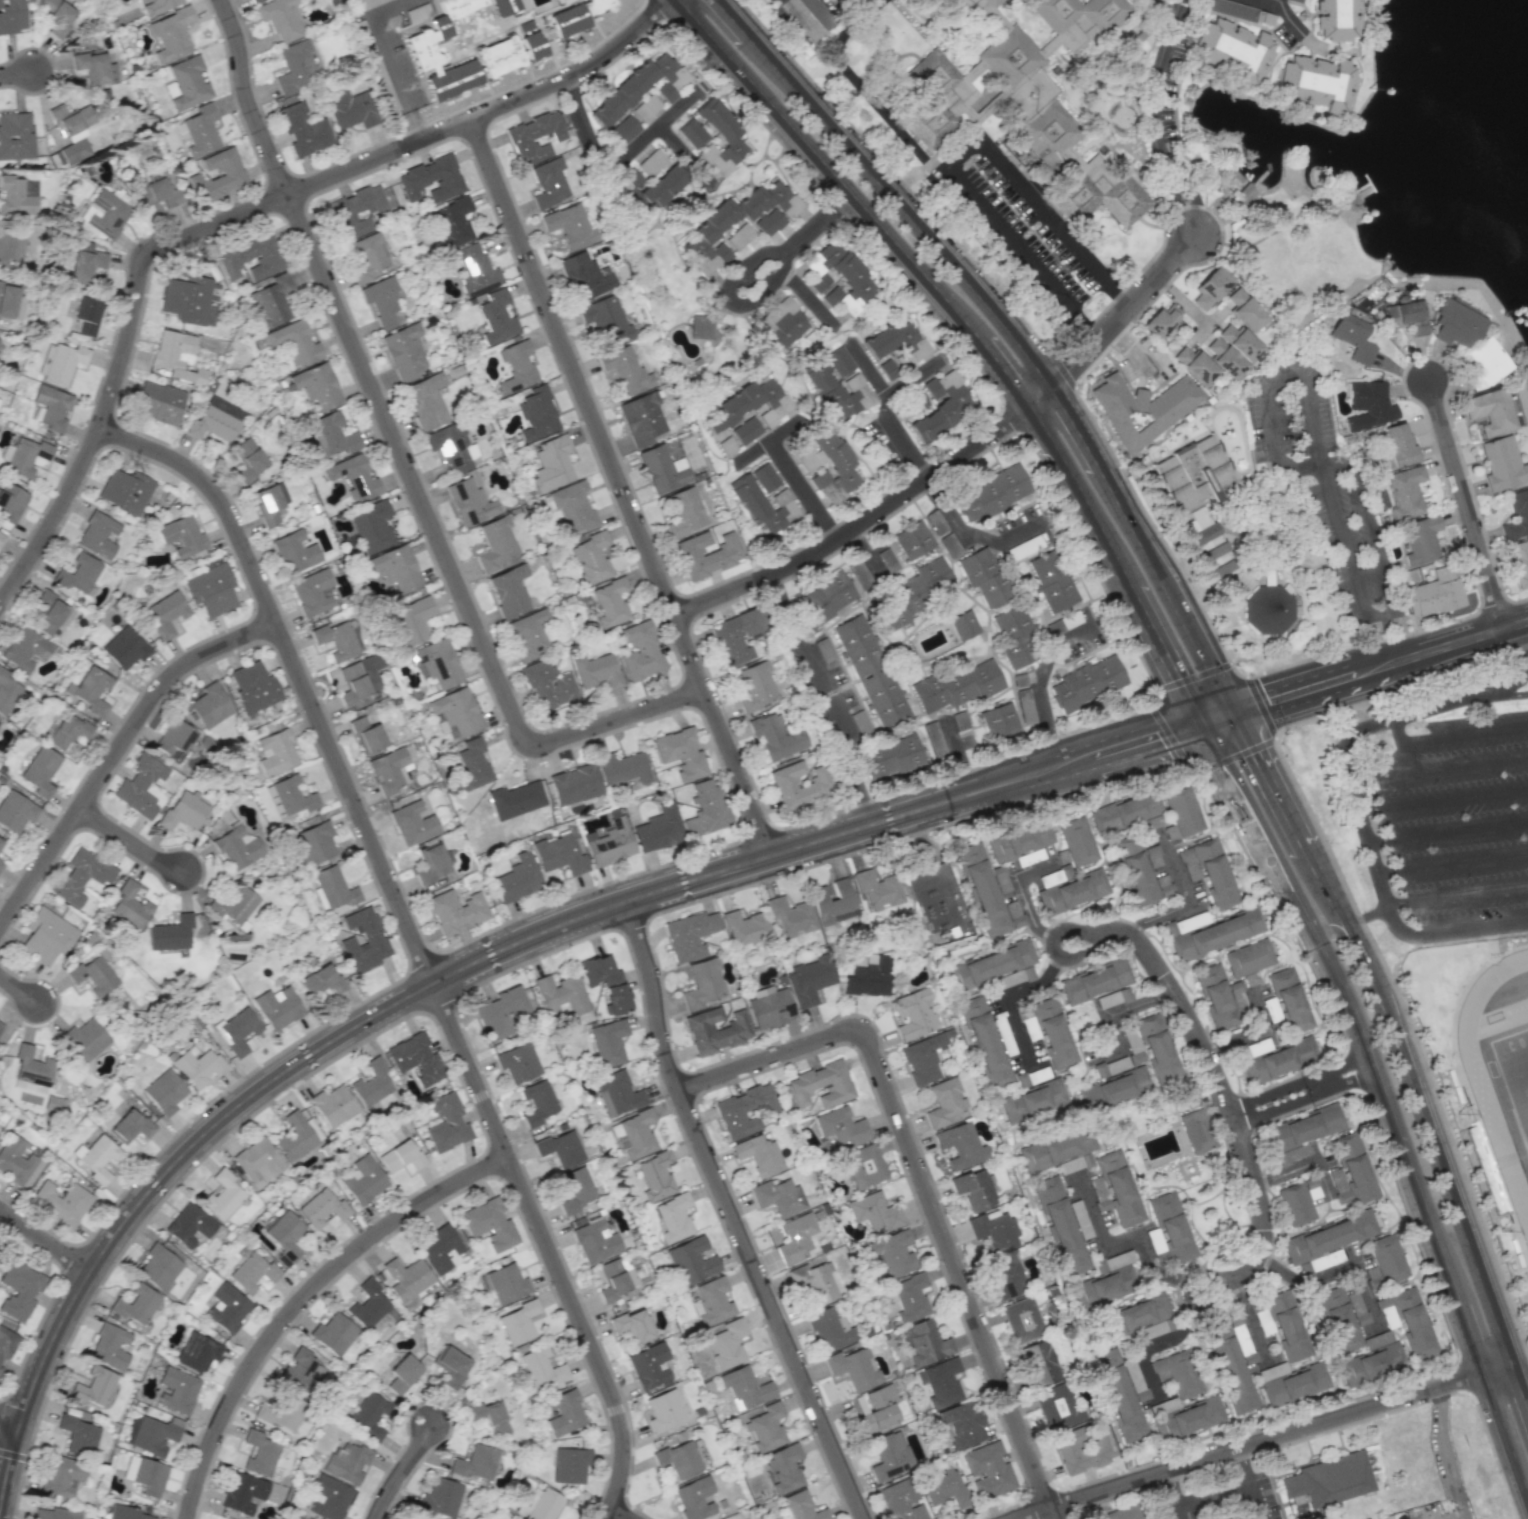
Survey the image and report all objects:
building: (253, 0)
building: (953, 0)
building: (1295, 0)
building: (970, 1)
building: (992, 2)
building: (839, 3)
road: (1264, 3)
road: (1276, 3)
road: (1168, 5)
building: (157, 6)
road: (383, 7)
building: (1240, 11)
road: (799, 15)
building: (11, 16)
building: (55, 16)
building: (575, 16)
building: (280, 18)
building: (1079, 19)
building: (1336, 19)
road: (1292, 22)
building: (171, 34)
building: (532, 45)
building: (422, 49)
building: (1231, 49)
road: (728, 55)
building: (499, 56)
building: (296, 66)
building: (94, 68)
road: (17, 73)
road: (395, 77)
road: (854, 80)
building: (188, 82)
building: (1315, 83)
building: (641, 85)
road: (1158, 93)
building: (939, 99)
road: (244, 100)
building: (349, 109)
building: (303, 129)
building: (624, 129)
building: (200, 130)
building: (691, 132)
building: (1055, 132)
building: (16, 135)
building: (534, 137)
building: (720, 137)
road: (685, 153)
road: (960, 154)
road: (614, 160)
building: (651, 162)
building: (230, 175)
building: (632, 178)
building: (431, 179)
building: (549, 182)
building: (661, 187)
building: (154, 190)
building: (17, 196)
building: (355, 210)
road: (239, 213)
building: (103, 216)
building: (453, 221)
road: (814, 222)
building: (713, 224)
building: (569, 225)
road: (881, 226)
building: (10, 247)
building: (366, 257)
building: (250, 258)
building: (83, 265)
building: (474, 269)
building: (585, 276)
building: (838, 277)
building: (1209, 287)
road: (1116, 292)
road: (807, 296)
building: (7, 299)
building: (188, 299)
building: (271, 300)
building: (381, 300)
road: (1130, 302)
road: (730, 303)
building: (1244, 310)
building: (86, 315)
building: (1405, 316)
building: (496, 317)
building: (606, 319)
building: (1161, 320)
building: (782, 322)
building: (1455, 323)
road: (1085, 324)
building: (701, 326)
building: (1353, 336)
building: (1239, 342)
building: (294, 343)
building: (896, 343)
building: (171, 348)
building: (403, 351)
building: (1224, 358)
building: (839, 361)
building: (60, 363)
building: (1486, 363)
building: (1194, 364)
road: (929, 366)
building: (515, 367)
building: (887, 369)
building: (625, 370)
road: (1008, 375)
building: (316, 385)
building: (836, 391)
building: (158, 401)
building: (425, 401)
building: (1369, 404)
building: (747, 405)
building: (940, 405)
building: (52, 407)
building: (1141, 407)
building: (1490, 411)
building: (536, 414)
building: (642, 418)
building: (215, 419)
road: (1272, 426)
building: (746, 430)
building: (331, 435)
building: (1399, 445)
building: (451, 446)
building: (726, 446)
building: (23, 456)
building: (248, 459)
building: (551, 463)
building: (1502, 463)
building: (828, 464)
building: (662, 469)
road: (927, 475)
building: (353, 477)
road: (621, 487)
building: (125, 491)
road: (803, 491)
building: (1405, 492)
building: (993, 493)
road: (1082, 495)
building: (1198, 497)
building: (763, 500)
building: (11, 502)
building: (270, 502)
building: (469, 502)
road: (1469, 505)
building: (573, 508)
building: (684, 512)
building: (1517, 514)
road: (1371, 524)
road: (859, 525)
road: (1340, 525)
building: (372, 527)
building: (97, 535)
building: (181, 535)
building: (1, 539)
building: (912, 539)
building: (1420, 540)
building: (495, 544)
building: (295, 552)
building: (706, 554)
road: (443, 555)
building: (590, 556)
road: (866, 559)
building: (1519, 562)
building: (396, 568)
building: (78, 574)
building: (984, 576)
building: (1052, 580)
building: (210, 590)
building: (509, 591)
building: (312, 592)
building: (916, 592)
building: (1433, 594)
building: (826, 597)
building: (609, 602)
building: (1268, 610)
building: (48, 613)
building: (165, 614)
road: (1381, 615)
building: (410, 621)
building: (964, 625)
building: (528, 633)
building: (1014, 635)
road: (1400, 635)
building: (734, 637)
building: (339, 639)
building: (124, 648)
building: (25, 649)
building: (824, 650)
building: (640, 651)
road: (1162, 653)
road: (1038, 656)
road: (1203, 659)
building: (436, 662)
road: (1523, 664)
road: (1380, 666)
building: (596, 671)
building: (870, 671)
road: (1194, 674)
building: (360, 678)
building: (1087, 682)
building: (548, 685)
building: (754, 686)
building: (955, 686)
building: (253, 687)
building: (92, 690)
building: (7, 692)
road: (820, 700)
building: (209, 706)
building: (456, 711)
road: (1213, 717)
building: (999, 720)
road: (1380, 720)
road: (1397, 730)
building: (68, 731)
road: (1166, 733)
road: (1466, 734)
building: (366, 735)
building: (775, 737)
building: (174, 740)
road: (1270, 741)
road: (119, 751)
building: (275, 752)
building: (680, 752)
building: (892, 756)
road: (1400, 756)
road: (958, 760)
building: (470, 766)
road: (1438, 767)
building: (391, 768)
building: (622, 769)
building: (40, 771)
road: (1226, 776)
building: (818, 782)
building: (574, 784)
building: (140, 785)
building: (291, 796)
building: (516, 799)
road: (1444, 799)
building: (706, 809)
building: (183, 810)
building: (15, 811)
building: (1183, 812)
building: (1123, 813)
building: (413, 823)
parking lot: (1447, 827)
building: (658, 829)
road: (1450, 831)
building: (310, 840)
building: (0, 841)
road: (131, 841)
building: (1019, 841)
building: (1077, 841)
building: (237, 847)
building: (559, 854)
road: (1453, 861)
building: (1, 863)
building: (431, 863)
building: (1208, 871)
building: (1138, 872)
road: (1379, 873)
building: (80, 876)
building: (517, 878)
building: (1050, 878)
building: (333, 888)
building: (876, 889)
building: (1072, 892)
building: (985, 894)
road: (1022, 894)
road: (1459, 894)
road: (1184, 898)
building: (832, 901)
building: (236, 902)
building: (129, 906)
building: (456, 911)
building: (789, 916)
road: (1366, 916)
building: (744, 927)
building: (1177, 928)
road: (1449, 931)
building: (170, 933)
building: (689, 934)
building: (1215, 934)
building: (46, 935)
building: (372, 938)
road: (416, 938)
road: (514, 942)
road: (1052, 946)
building: (1248, 958)
building: (990, 964)
building: (92, 975)
building: (868, 977)
building: (1015, 977)
building: (321, 980)
building: (809, 980)
building: (605, 981)
building: (1093, 981)
building: (702, 983)
road: (19, 989)
building: (560, 993)
building: (1216, 997)
road: (1008, 999)
building: (1288, 1000)
building: (278, 1007)
building: (770, 1007)
road: (1122, 1011)
building: (500, 1013)
building: (913, 1013)
building: (1, 1025)
building: (237, 1030)
building: (716, 1030)
road: (1249, 1032)
building: (1053, 1033)
building: (85, 1039)
building: (984, 1041)
building: (608, 1042)
building: (1157, 1049)
building: (415, 1059)
building: (922, 1059)
road: (1373, 1060)
building: (1279, 1061)
building: (517, 1063)
building: (198, 1067)
track: (1497, 1067)
building: (28, 1074)
park: (1513, 1079)
building: (371, 1083)
building: (820, 1084)
road: (1218, 1085)
building: (1112, 1089)
road: (1303, 1090)
building: (164, 1092)
building: (617, 1093)
building: (1032, 1101)
building: (537, 1102)
building: (944, 1102)
building: (53, 1104)
building: (332, 1105)
building: (744, 1110)
building: (447, 1123)
building: (130, 1126)
building: (1304, 1126)
building: (0, 1127)
building: (841, 1127)
building: (1196, 1130)
building: (634, 1134)
building: (294, 1136)
building: (960, 1145)
building: (560, 1147)
building: (1056, 1149)
building: (1293, 1153)
building: (758, 1155)
building: (97, 1157)
building: (400, 1157)
building: (1085, 1159)
building: (15, 1160)
building: (258, 1162)
building: (863, 1166)
building: (1354, 1168)
road: (1291, 1169)
building: (654, 1175)
building: (363, 1179)
building: (1339, 1185)
road: (922, 1186)
building: (1119, 1188)
building: (974, 1189)
building: (575, 1190)
building: (222, 1195)
building: (778, 1196)
building: (1299, 1201)
building: (61, 1203)
building: (322, 1207)
building: (874, 1211)
road: (731, 1213)
building: (673, 1217)
building: (489, 1224)
building: (189, 1225)
building: (1060, 1225)
building: (994, 1229)
building: (1168, 1230)
building: (284, 1237)
building: (795, 1238)
road: (46, 1241)
building: (595, 1241)
building: (1326, 1241)
road: (1123, 1242)
building: (440, 1249)
building: (892, 1252)
building: (1388, 1258)
building: (691, 1260)
building: (158, 1266)
building: (252, 1272)
road: (1334, 1272)
building: (407, 1277)
building: (1006, 1278)
building: (612, 1279)
building: (506, 1283)
building: (813, 1284)
road: (1191, 1285)
building: (18, 1287)
building: (1102, 1288)
building: (909, 1297)
road: (305, 1298)
building: (713, 1301)
building: (135, 1304)
building: (368, 1304)
building: (227, 1308)
building: (1135, 1314)
building: (1022, 1319)
road: (1250, 1319)
building: (1338, 1319)
building: (1264, 1321)
building: (517, 1322)
building: (632, 1325)
building: (1286, 1326)
building: (831, 1329)
building: (333, 1333)
road: (1472, 1338)
building: (6, 1343)
building: (727, 1343)
building: (924, 1343)
road: (1156, 1343)
building: (109, 1346)
building: (197, 1352)
building: (1105, 1358)
building: (1041, 1361)
building: (1370, 1364)
building: (450, 1365)
building: (649, 1365)
building: (541, 1367)
building: (854, 1368)
road: (1497, 1368)
building: (298, 1369)
building: (1177, 1373)
building: (402, 1374)
building: (1233, 1375)
building: (942, 1382)
building: (1293, 1384)
building: (95, 1386)
building: (745, 1387)
building: (177, 1390)
road: (1, 1401)
building: (1122, 1403)
building: (875, 1407)
building: (1058, 1407)
building: (664, 1410)
building: (281, 1411)
building: (561, 1412)
building: (368, 1415)
building: (488, 1417)
building: (1187, 1419)
building: (962, 1423)
road: (11, 1425)
building: (766, 1427)
road: (1506, 1434)
building: (77, 1435)
building: (153, 1435)
road: (1250, 1445)
building: (1082, 1448)
building: (259, 1453)
road: (13, 1454)
building: (890, 1456)
building: (679, 1459)
building: (475, 1462)
building: (347, 1464)
building: (569, 1465)
building: (783, 1468)
building: (987, 1469)
road: (403, 1472)
road: (12, 1474)
building: (145, 1475)
building: (62, 1476)
building: (1330, 1480)
road: (1249, 1484)
building: (945, 1489)
building: (242, 1492)
road: (1169, 1494)
road: (1211, 1495)
building: (328, 1497)
building: (440, 1498)
building: (694, 1498)
building: (899, 1501)
building: (539, 1506)
building: (802, 1507)
building: (53, 1513)
building: (125, 1513)
road: (619, 1513)
building: (1121, 1513)

